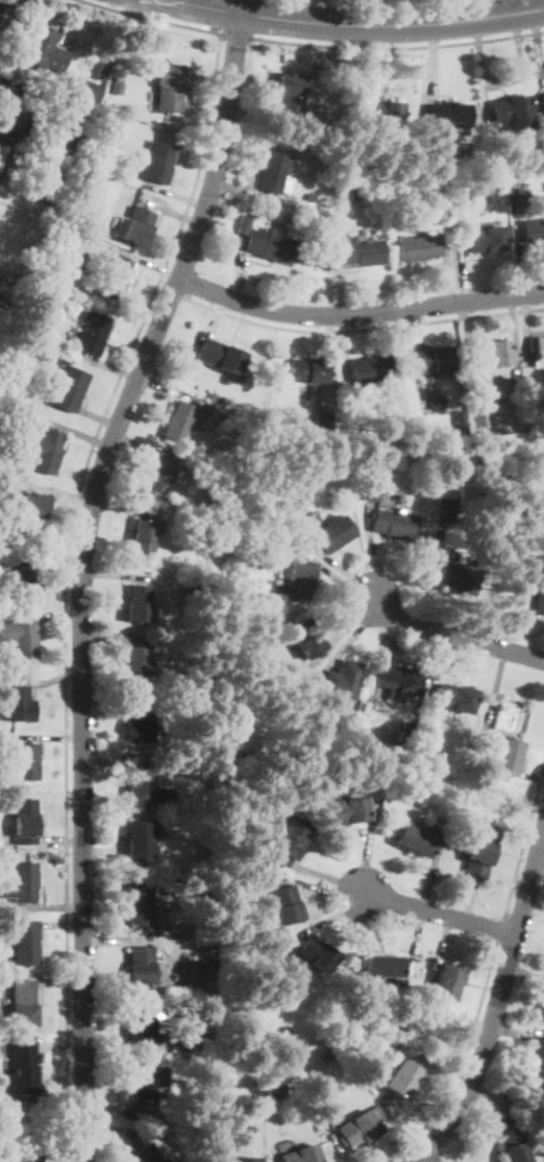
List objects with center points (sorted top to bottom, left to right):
road: (382, 0)
road: (7, 17)
road: (152, 17)
road: (357, 25)
road: (234, 34)
road: (537, 42)
road: (397, 48)
building: (44, 49)
road: (431, 60)
road: (363, 65)
building: (103, 71)
road: (30, 73)
road: (503, 83)
building: (168, 86)
building: (114, 88)
building: (85, 89)
road: (1, 91)
building: (289, 95)
building: (543, 96)
road: (484, 100)
building: (127, 106)
road: (210, 106)
road: (252, 110)
building: (513, 110)
building: (18, 112)
building: (386, 114)
building: (448, 114)
building: (48, 115)
building: (497, 138)
building: (74, 149)
building: (458, 151)
building: (2, 156)
building: (158, 162)
building: (272, 171)
building: (62, 173)
building: (518, 173)
building: (85, 175)
building: (1, 180)
building: (84, 185)
building: (58, 187)
building: (355, 192)
building: (77, 194)
road: (175, 194)
building: (310, 198)
building: (374, 203)
road: (170, 211)
building: (134, 225)
building: (243, 225)
building: (400, 227)
building: (533, 231)
building: (61, 237)
building: (485, 239)
road: (519, 239)
building: (271, 245)
building: (418, 247)
road: (129, 252)
building: (361, 252)
building: (90, 258)
road: (240, 269)
road: (447, 269)
road: (464, 269)
building: (113, 277)
road: (338, 283)
road: (168, 291)
building: (35, 293)
road: (358, 314)
road: (212, 324)
road: (527, 324)
road: (361, 327)
building: (92, 333)
building: (0, 336)
road: (406, 338)
road: (331, 345)
road: (344, 347)
building: (538, 353)
building: (220, 356)
building: (489, 360)
building: (433, 361)
road: (105, 363)
building: (308, 371)
building: (369, 371)
building: (67, 387)
road: (168, 389)
building: (435, 401)
road: (496, 402)
building: (514, 415)
road: (98, 416)
building: (14, 419)
building: (180, 421)
building: (477, 421)
building: (322, 423)
building: (442, 427)
road: (79, 433)
building: (386, 436)
building: (6, 440)
road: (145, 446)
building: (43, 448)
building: (271, 450)
building: (513, 457)
building: (322, 466)
building: (538, 471)
building: (283, 474)
building: (491, 477)
building: (159, 478)
building: (370, 490)
road: (60, 493)
building: (446, 506)
building: (31, 508)
road: (126, 508)
building: (393, 523)
building: (254, 530)
building: (332, 532)
building: (143, 538)
building: (223, 538)
road: (374, 549)
road: (61, 555)
road: (338, 566)
road: (81, 573)
road: (434, 574)
road: (113, 576)
road: (333, 576)
building: (296, 577)
building: (465, 578)
building: (23, 580)
road: (65, 584)
building: (539, 597)
building: (137, 603)
road: (47, 614)
road: (343, 628)
road: (356, 632)
road: (455, 634)
road: (536, 634)
road: (388, 636)
building: (303, 637)
building: (20, 639)
road: (114, 639)
building: (138, 666)
road: (439, 666)
road: (54, 676)
building: (191, 680)
building: (343, 680)
building: (397, 680)
road: (496, 692)
building: (455, 697)
building: (18, 702)
building: (223, 722)
building: (138, 723)
building: (409, 727)
building: (404, 735)
road: (53, 739)
building: (207, 742)
road: (111, 747)
building: (504, 755)
building: (23, 761)
road: (113, 763)
road: (531, 776)
building: (138, 787)
building: (428, 796)
building: (338, 805)
building: (374, 807)
building: (25, 820)
building: (139, 839)
building: (416, 839)
road: (47, 842)
building: (289, 842)
road: (524, 842)
road: (542, 845)
road: (371, 847)
road: (102, 850)
building: (479, 851)
road: (433, 872)
road: (331, 878)
building: (22, 883)
road: (332, 889)
road: (467, 899)
road: (43, 905)
building: (139, 907)
building: (285, 907)
road: (534, 908)
road: (441, 914)
road: (334, 916)
road: (61, 923)
road: (500, 928)
road: (445, 939)
road: (115, 940)
road: (417, 941)
building: (25, 944)
building: (318, 953)
building: (140, 965)
building: (383, 965)
building: (200, 970)
road: (526, 973)
road: (61, 980)
building: (446, 982)
building: (23, 1004)
road: (497, 1006)
building: (542, 1011)
building: (431, 1016)
building: (359, 1018)
building: (143, 1024)
building: (286, 1031)
road: (513, 1032)
building: (345, 1035)
building: (200, 1036)
building: (338, 1042)
road: (62, 1046)
road: (133, 1047)
building: (324, 1055)
road: (463, 1061)
building: (537, 1065)
building: (200, 1066)
building: (23, 1068)
road: (439, 1071)
building: (403, 1078)
building: (145, 1084)
building: (316, 1086)
building: (276, 1090)
road: (495, 1100)
road: (107, 1107)
building: (359, 1126)
building: (218, 1127)
road: (114, 1130)
road: (338, 1144)
building: (513, 1145)
building: (143, 1154)
building: (301, 1155)
building: (22, 1157)
road: (427, 1157)
building: (236, 1158)
road: (277, 1161)

